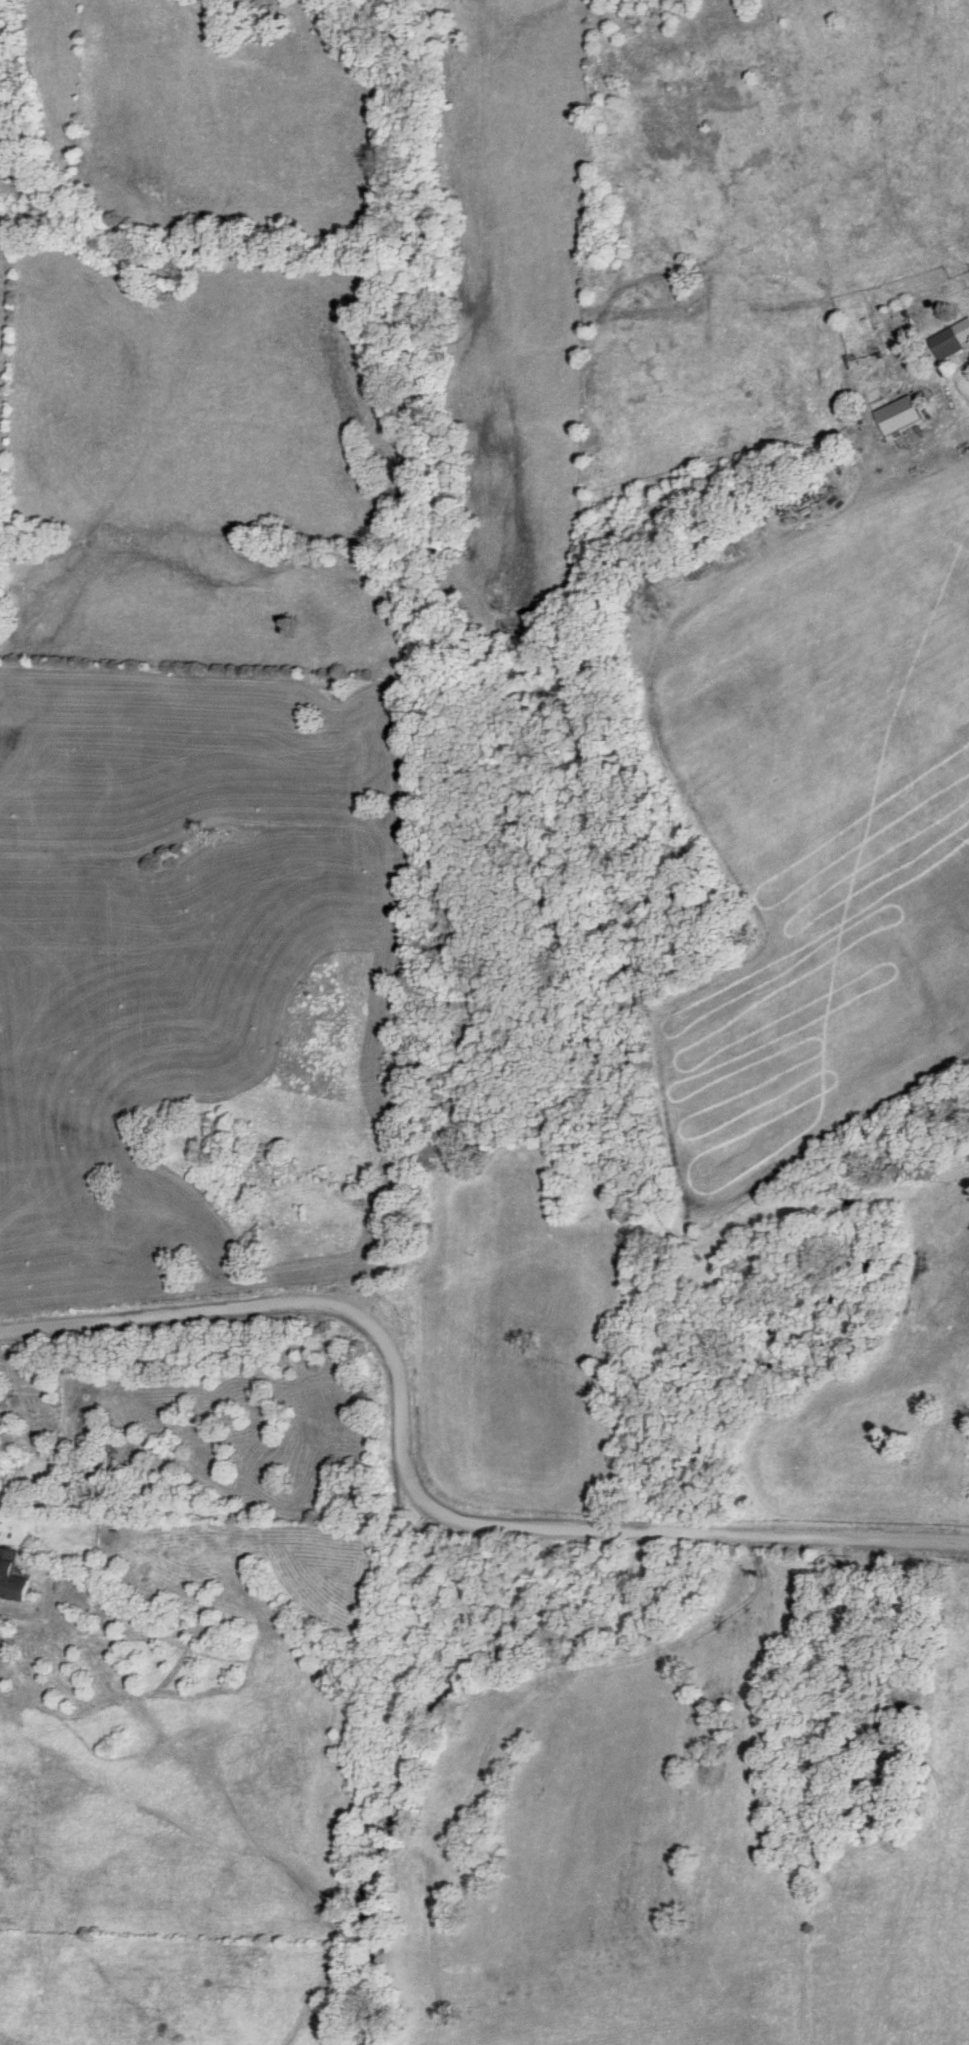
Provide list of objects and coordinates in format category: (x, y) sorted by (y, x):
building: (946, 342)
road: (967, 382)
road: (416, 1505)
building: (14, 1575)

